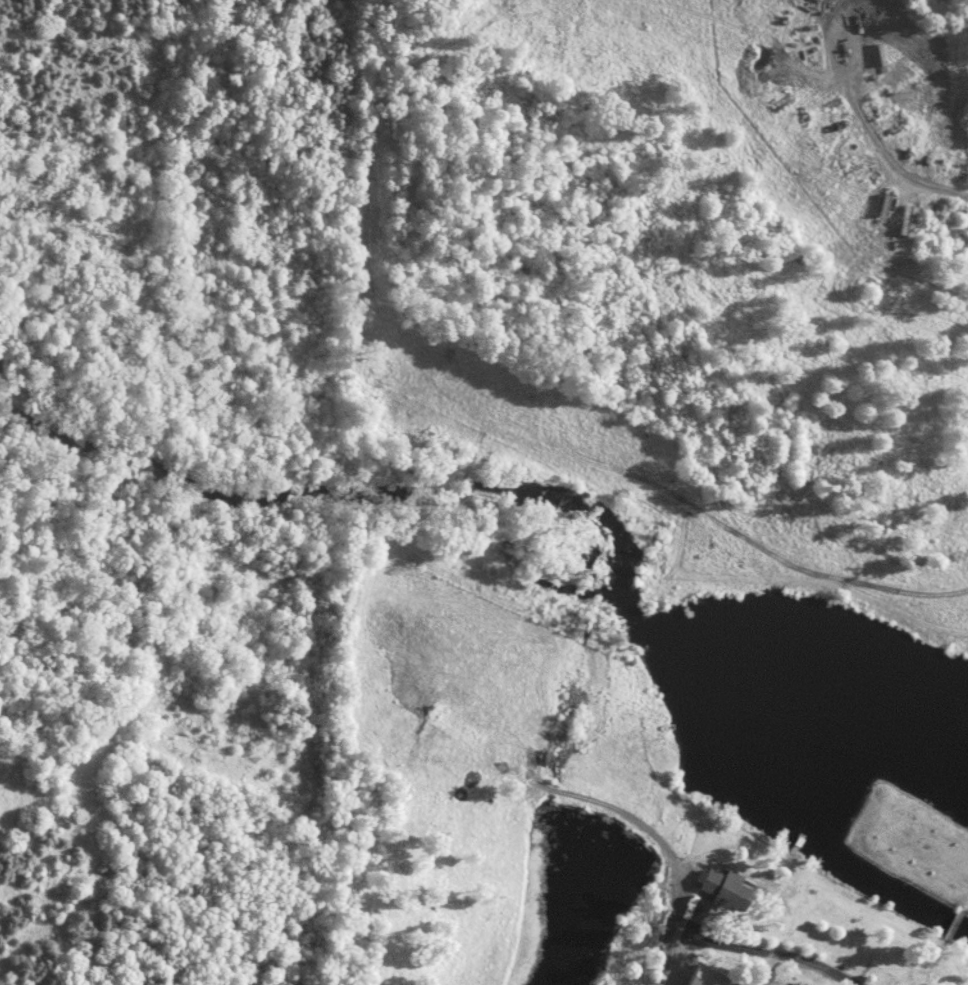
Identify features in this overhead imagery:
building: (725, 887)
building: (707, 977)

